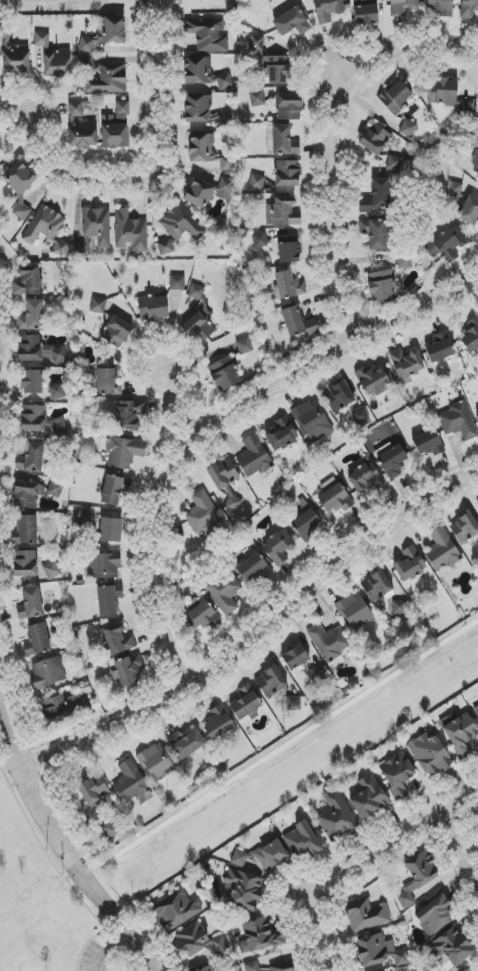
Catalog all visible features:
building: (402, 7)
building: (442, 7)
building: (468, 9)
building: (328, 10)
building: (366, 14)
building: (292, 22)
building: (105, 33)
building: (207, 35)
building: (53, 57)
building: (16, 59)
building: (271, 63)
building: (205, 74)
building: (106, 79)
building: (442, 92)
building: (396, 97)
building: (257, 99)
building: (289, 107)
building: (465, 108)
building: (205, 112)
road: (324, 118)
building: (80, 128)
building: (116, 128)
building: (408, 128)
building: (374, 139)
building: (284, 141)
building: (208, 154)
building: (475, 159)
building: (394, 163)
road: (155, 169)
building: (287, 174)
building: (256, 183)
building: (207, 189)
building: (377, 196)
building: (469, 209)
building: (282, 212)
building: (43, 225)
building: (98, 228)
building: (176, 229)
building: (130, 231)
building: (375, 233)
building: (260, 240)
building: (448, 245)
building: (61, 248)
building: (288, 250)
building: (404, 260)
building: (28, 281)
building: (177, 283)
building: (289, 284)
building: (381, 285)
building: (196, 292)
building: (98, 306)
building: (153, 308)
building: (32, 316)
building: (298, 322)
building: (199, 328)
building: (117, 331)
building: (471, 336)
building: (244, 346)
building: (29, 348)
building: (440, 348)
building: (57, 355)
building: (406, 365)
building: (224, 374)
building: (32, 382)
building: (108, 382)
building: (373, 382)
building: (57, 392)
road: (179, 393)
building: (338, 397)
road: (215, 409)
building: (477, 414)
building: (127, 415)
building: (360, 415)
building: (33, 418)
building: (312, 421)
building: (459, 421)
building: (58, 426)
building: (281, 434)
building: (427, 443)
building: (122, 451)
building: (254, 457)
building: (31, 458)
building: (392, 460)
building: (365, 478)
building: (225, 482)
building: (55, 489)
building: (114, 489)
building: (26, 495)
building: (333, 496)
building: (202, 513)
building: (83, 517)
building: (306, 522)
building: (465, 528)
building: (111, 530)
building: (26, 531)
building: (279, 547)
building: (442, 551)
building: (25, 564)
building: (409, 564)
building: (104, 565)
building: (253, 568)
building: (52, 570)
building: (376, 586)
building: (224, 592)
building: (108, 599)
building: (30, 604)
building: (355, 611)
building: (202, 618)
road: (251, 624)
building: (37, 639)
building: (118, 639)
building: (329, 643)
building: (295, 657)
building: (128, 670)
building: (48, 672)
building: (317, 674)
building: (270, 682)
building: (245, 704)
building: (64, 706)
building: (476, 711)
building: (218, 727)
building: (459, 732)
building: (186, 743)
building: (430, 753)
building: (156, 762)
building: (397, 775)
road: (17, 783)
building: (131, 783)
building: (93, 791)
building: (369, 797)
building: (477, 816)
building: (335, 818)
building: (111, 829)
road: (34, 832)
road: (391, 832)
building: (303, 840)
road: (66, 851)
road: (457, 852)
building: (263, 856)
building: (417, 877)
building: (243, 889)
building: (176, 909)
road: (91, 911)
building: (434, 913)
building: (366, 914)
road: (316, 927)
building: (260, 936)
building: (197, 942)
building: (450, 949)
road: (109, 950)
building: (380, 952)
building: (252, 966)
building: (282, 967)
building: (207, 969)
building: (464, 969)

